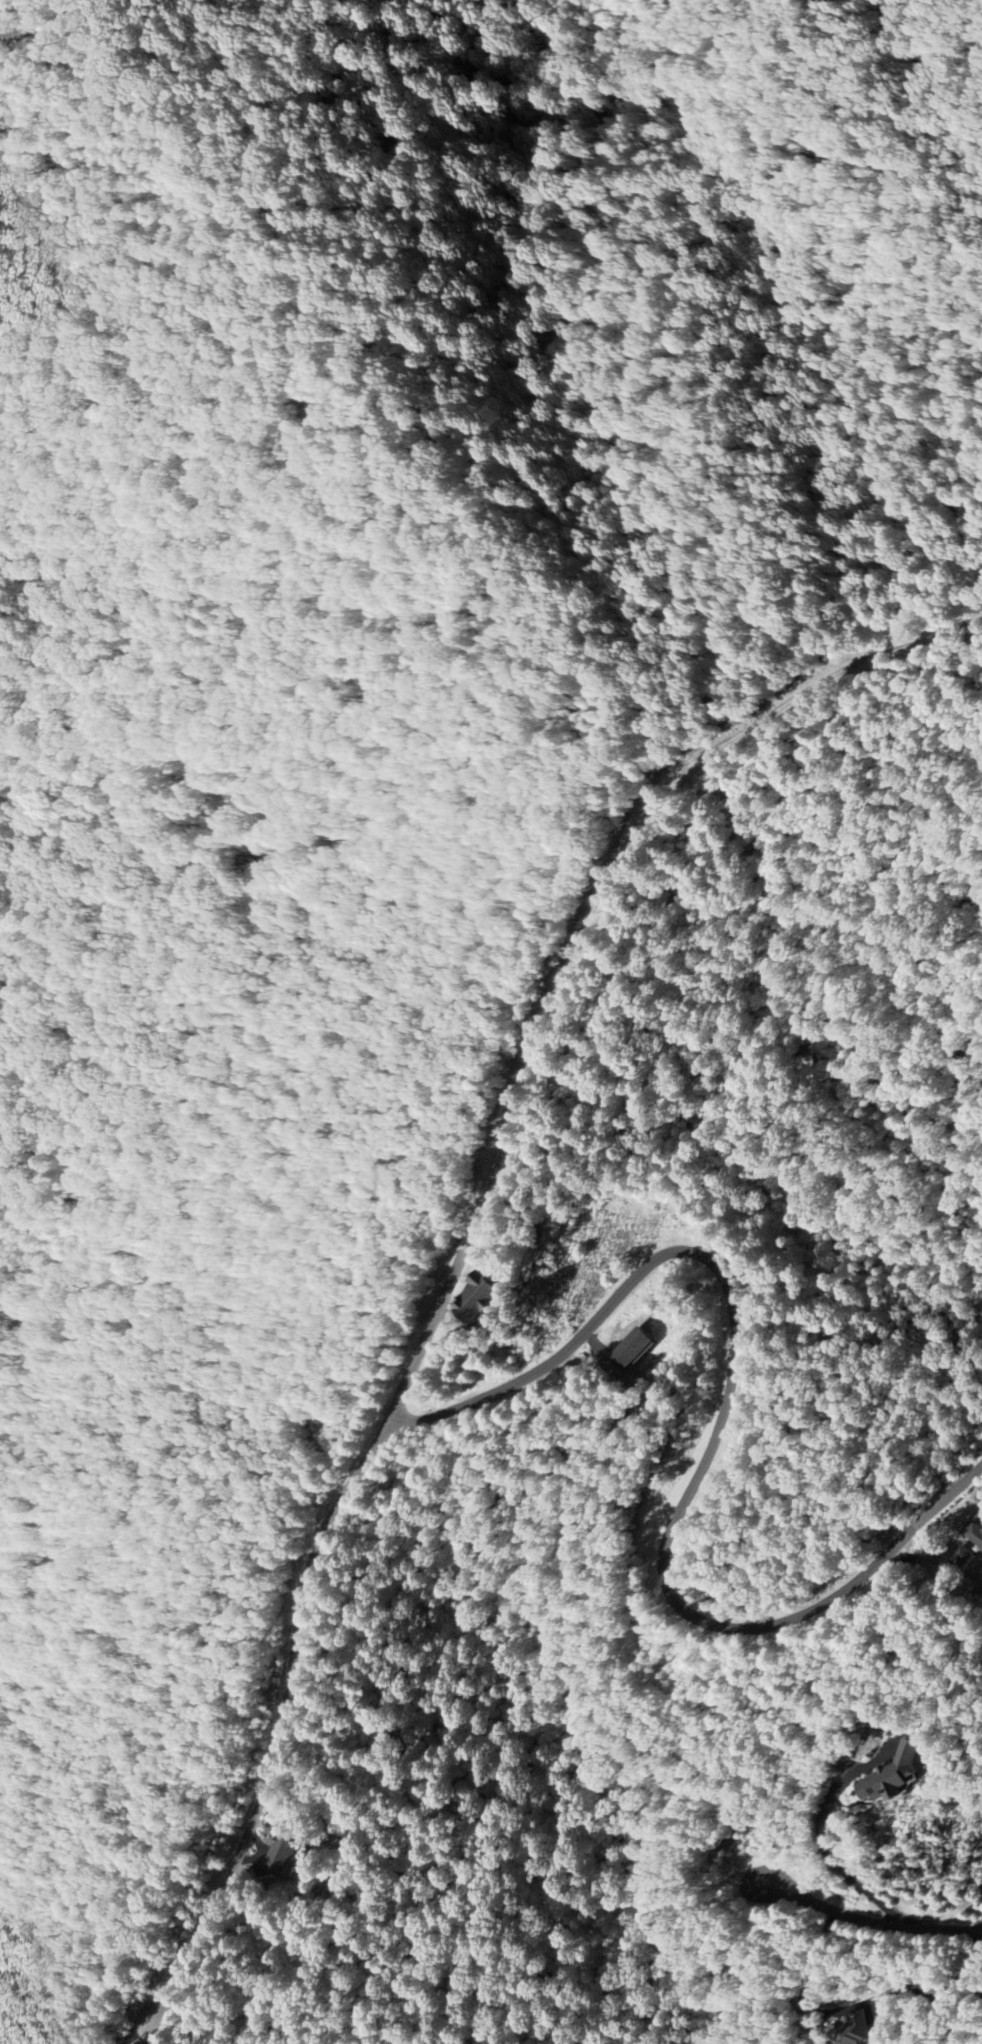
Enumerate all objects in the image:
building: (476, 1298)
road: (434, 1320)
building: (632, 1348)
road: (713, 1428)
road: (272, 1713)
building: (892, 1774)
road: (826, 1848)
building: (284, 1857)
road: (862, 1914)
road: (860, 2001)
building: (862, 2030)
road: (135, 2031)

